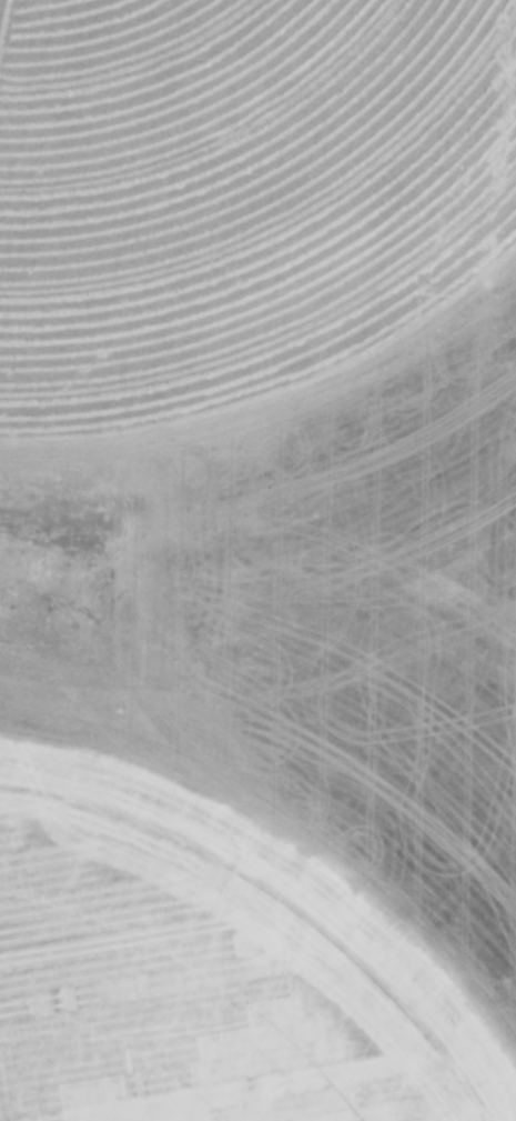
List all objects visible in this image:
crop: (235, 191)
crop: (219, 951)

